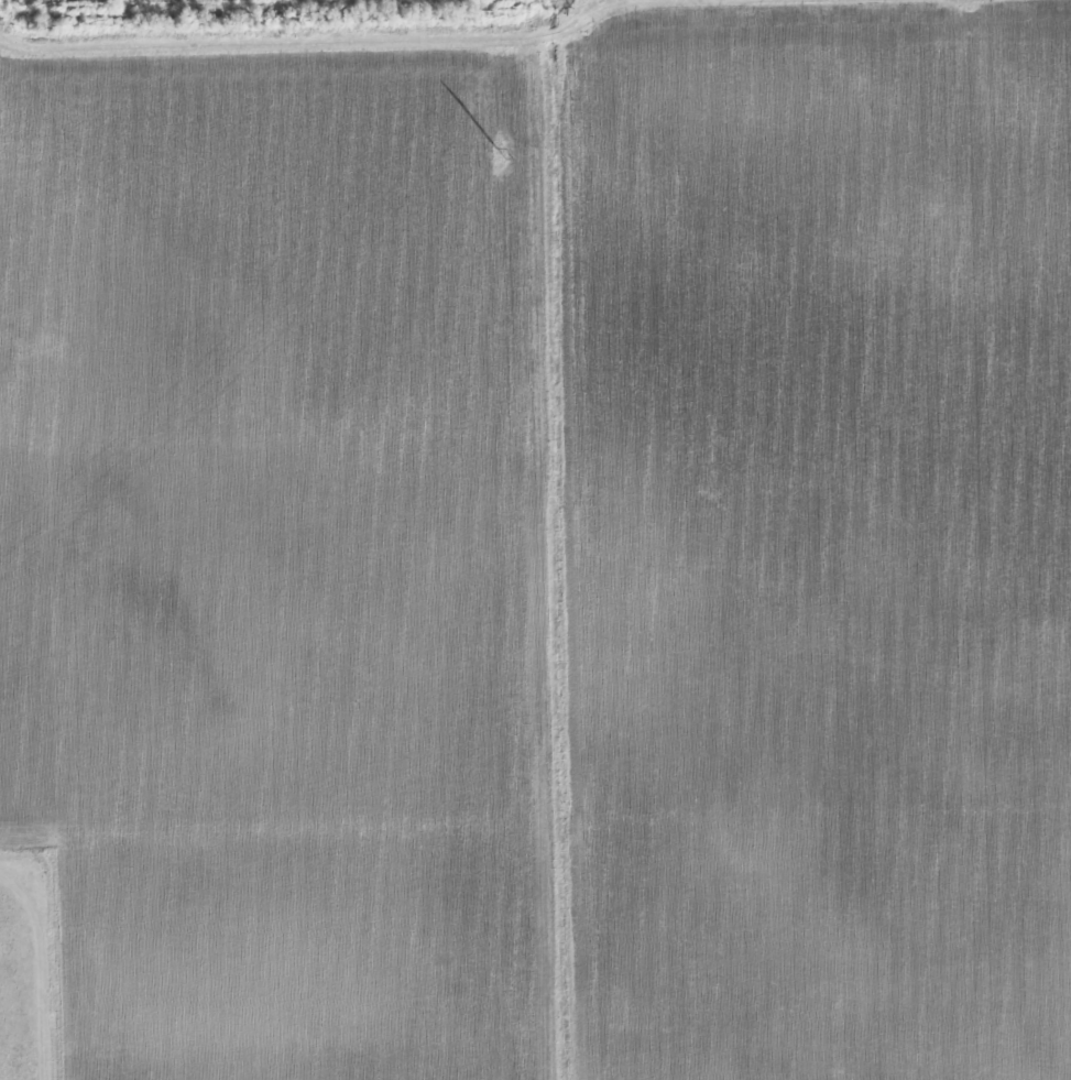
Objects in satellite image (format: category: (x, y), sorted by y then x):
power tower: (495, 152)

